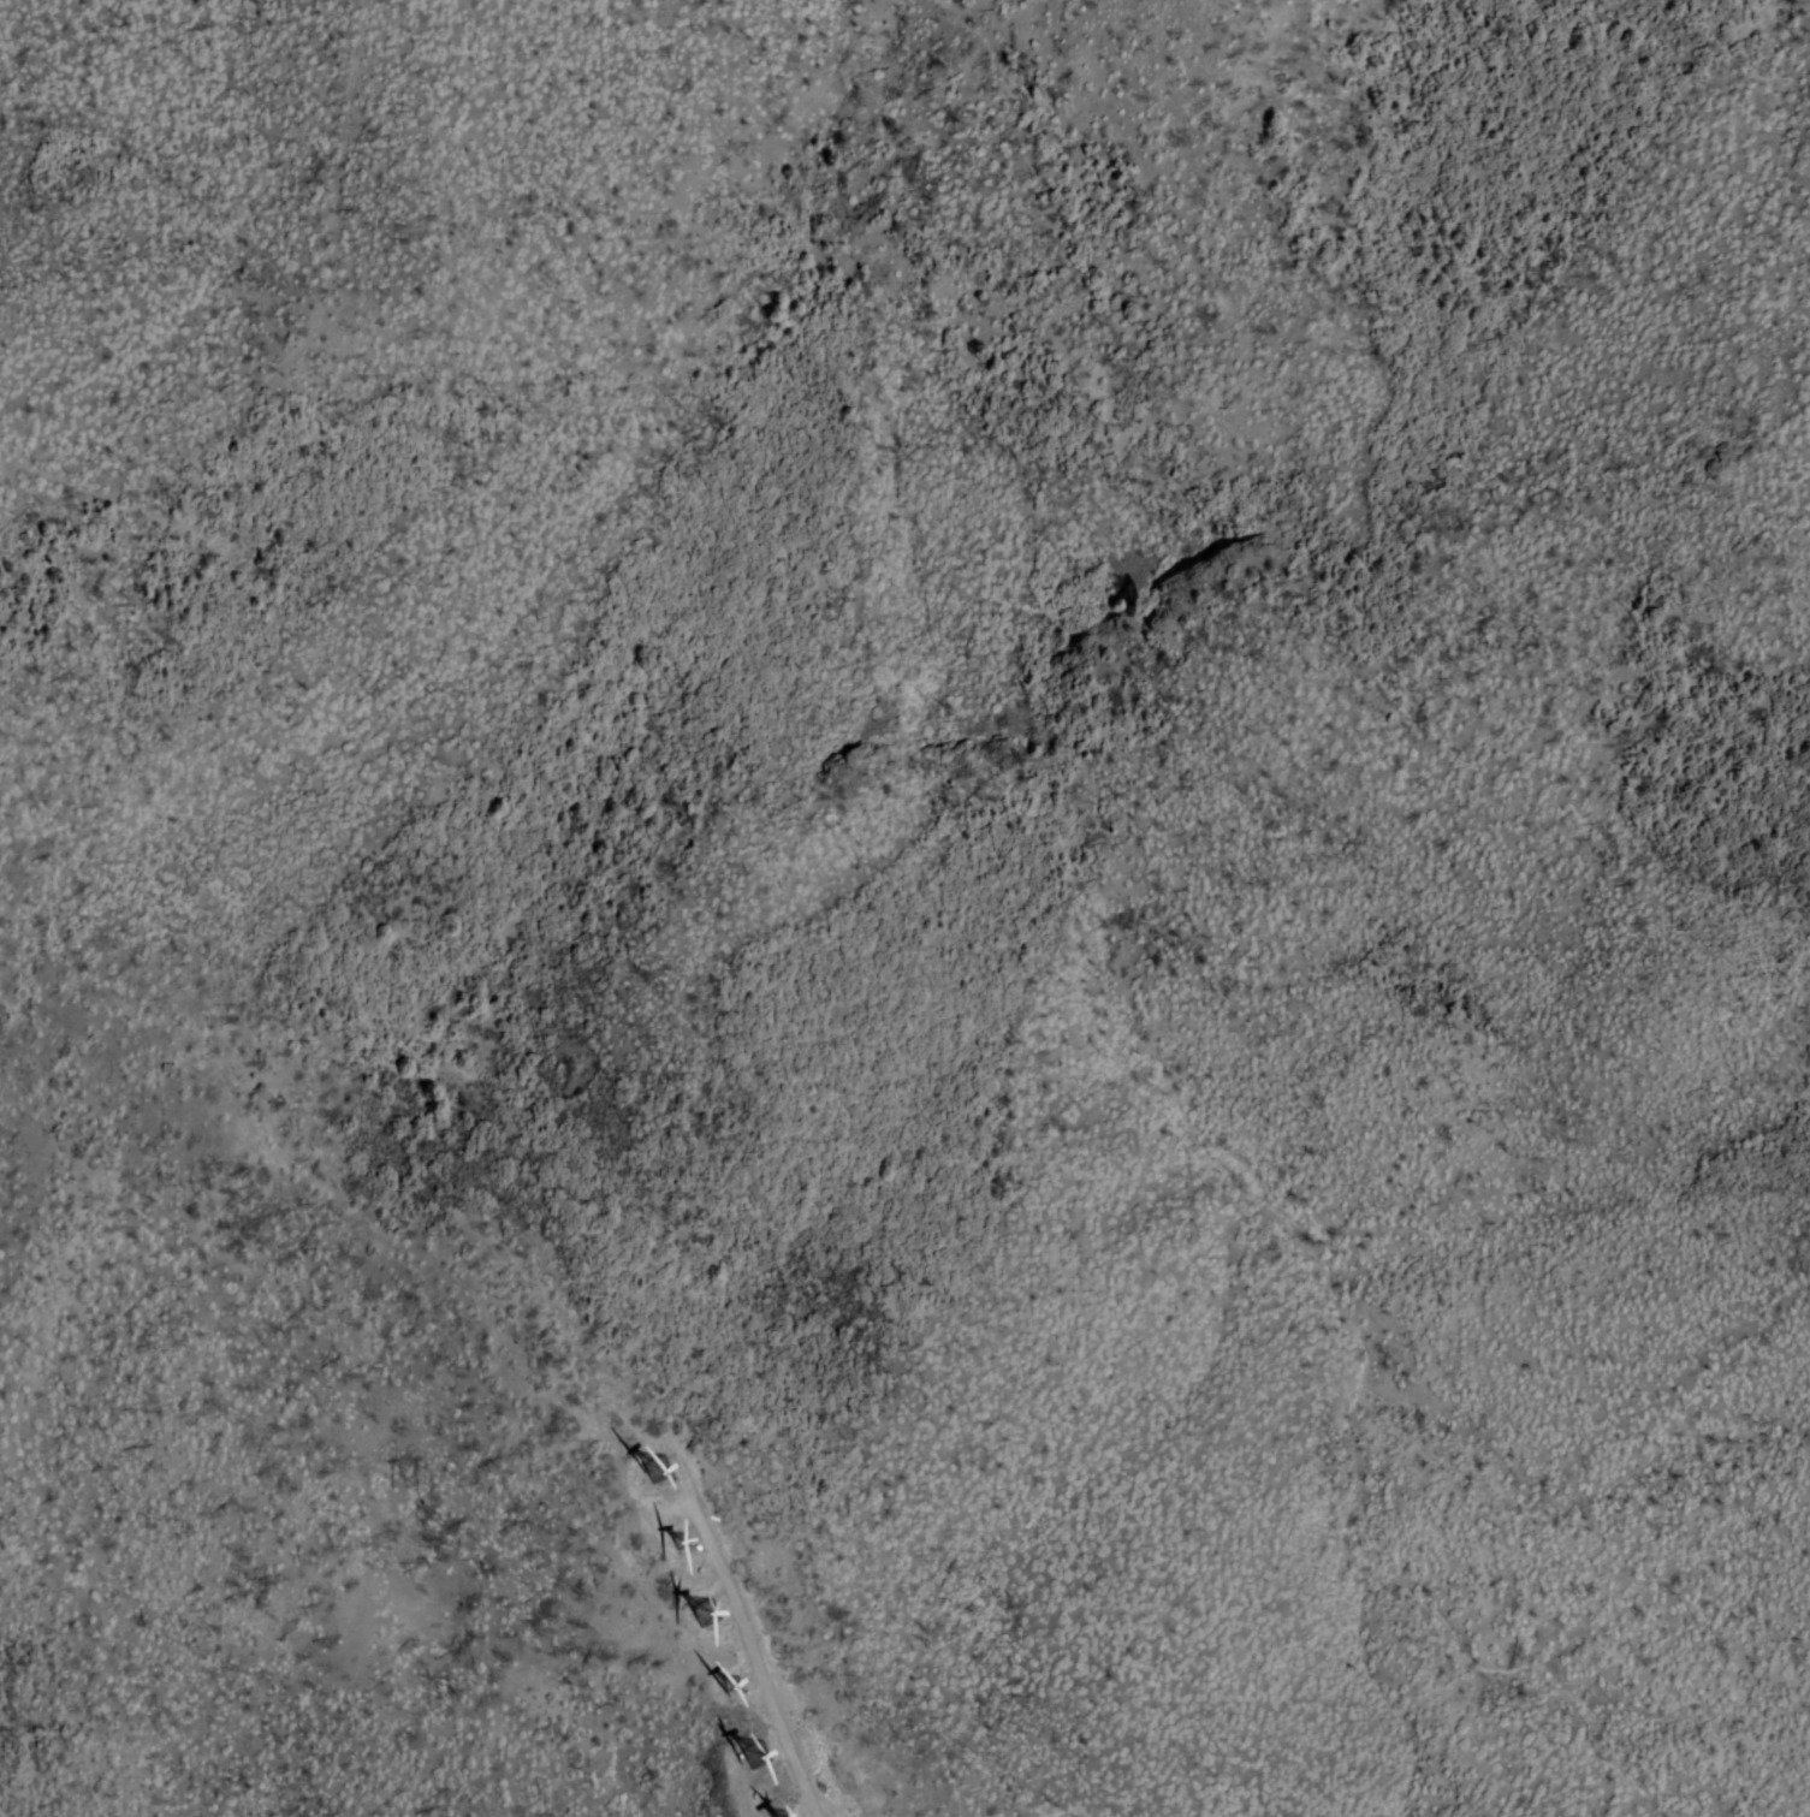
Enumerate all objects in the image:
road: (144, 512)
road: (515, 1287)
wind turbine: (646, 1474)
wind turbine: (673, 1542)
wind turbine: (690, 1619)
wind turbine: (724, 1691)
wind turbine: (746, 1756)

